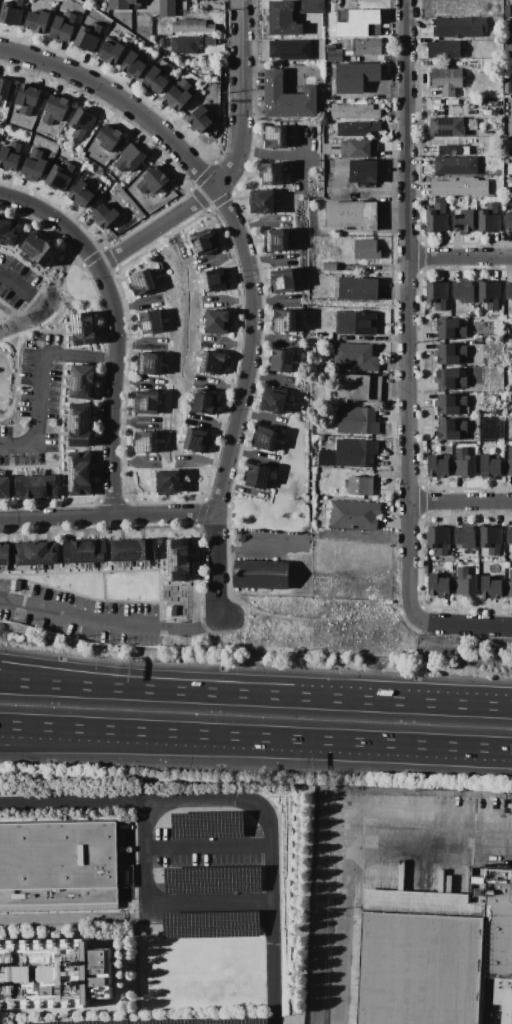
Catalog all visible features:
building: (125, 5)
road: (150, 5)
building: (310, 7)
building: (167, 8)
building: (11, 12)
building: (282, 19)
building: (37, 21)
building: (358, 23)
building: (192, 26)
building: (459, 27)
building: (62, 28)
building: (88, 37)
building: (163, 43)
building: (189, 44)
building: (366, 47)
building: (443, 49)
building: (508, 49)
building: (290, 50)
building: (111, 52)
building: (334, 56)
building: (440, 63)
building: (132, 66)
building: (356, 76)
building: (154, 81)
building: (446, 81)
building: (507, 87)
building: (4, 91)
building: (178, 95)
building: (287, 98)
building: (27, 99)
building: (490, 104)
building: (54, 109)
building: (354, 111)
building: (491, 113)
building: (199, 119)
building: (81, 123)
building: (472, 124)
building: (446, 127)
building: (357, 129)
building: (275, 137)
building: (109, 138)
building: (327, 149)
building: (357, 149)
building: (460, 150)
road: (276, 154)
building: (9, 157)
building: (129, 158)
road: (230, 165)
building: (34, 166)
building: (455, 166)
building: (362, 172)
building: (272, 173)
building: (59, 176)
building: (152, 180)
building: (459, 187)
building: (80, 195)
building: (261, 202)
building: (352, 214)
building: (104, 216)
road: (386, 216)
road: (397, 216)
building: (489, 218)
building: (436, 219)
building: (463, 222)
building: (508, 222)
building: (8, 231)
building: (276, 240)
building: (203, 242)
building: (366, 249)
building: (39, 250)
road: (459, 256)
road: (407, 265)
building: (329, 266)
road: (249, 273)
building: (215, 280)
building: (281, 281)
road: (13, 282)
building: (141, 282)
building: (358, 289)
building: (508, 290)
building: (464, 292)
building: (489, 294)
building: (437, 295)
building: (151, 321)
building: (284, 321)
building: (218, 322)
building: (355, 323)
road: (115, 326)
building: (83, 329)
building: (450, 329)
building: (449, 354)
building: (356, 356)
building: (281, 361)
building: (149, 363)
building: (213, 363)
road: (41, 379)
building: (449, 379)
building: (81, 382)
building: (358, 389)
building: (508, 398)
building: (273, 401)
building: (204, 402)
building: (145, 403)
building: (450, 404)
building: (497, 412)
building: (357, 420)
building: (80, 425)
building: (451, 430)
building: (265, 438)
building: (198, 441)
building: (145, 442)
building: (355, 453)
building: (322, 457)
building: (329, 458)
building: (509, 462)
building: (463, 463)
building: (437, 467)
building: (489, 467)
building: (79, 473)
building: (257, 476)
building: (167, 483)
building: (359, 486)
building: (4, 487)
building: (36, 487)
road: (460, 501)
road: (106, 515)
building: (353, 515)
building: (465, 536)
building: (509, 536)
building: (439, 540)
building: (490, 541)
road: (256, 549)
building: (133, 552)
building: (84, 553)
building: (37, 554)
building: (4, 556)
building: (177, 559)
building: (261, 575)
road: (408, 575)
building: (465, 583)
building: (438, 585)
building: (509, 585)
building: (490, 587)
road: (108, 622)
road: (304, 624)
road: (462, 625)
road: (104, 676)
road: (104, 686)
road: (360, 699)
road: (100, 729)
road: (100, 740)
road: (356, 741)
road: (240, 797)
building: (507, 806)
parking lot: (206, 847)
road: (349, 847)
road: (207, 848)
building: (249, 859)
building: (58, 866)
road: (158, 904)
parking lot: (207, 905)
building: (497, 931)
building: (421, 958)
building: (52, 974)
railway: (489, 1020)
railway: (497, 1022)

